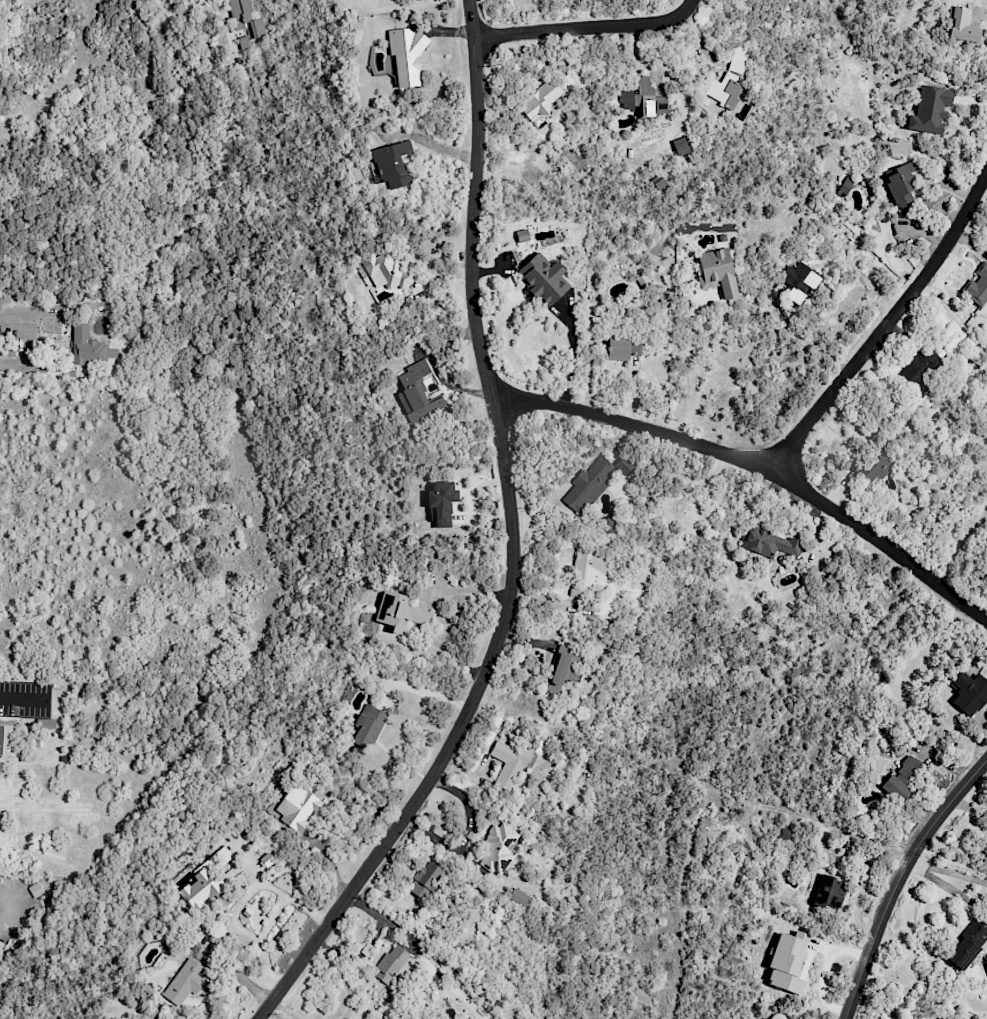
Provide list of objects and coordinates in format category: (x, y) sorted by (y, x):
road: (689, 6)
building: (246, 18)
road: (226, 25)
building: (961, 25)
road: (580, 28)
road: (638, 54)
building: (406, 56)
building: (729, 80)
building: (644, 98)
building: (539, 100)
building: (930, 110)
building: (682, 146)
building: (902, 183)
building: (660, 185)
building: (847, 185)
building: (387, 271)
building: (717, 272)
building: (543, 279)
building: (799, 281)
building: (977, 286)
road: (885, 327)
road: (23, 344)
building: (89, 347)
building: (622, 348)
road: (690, 367)
building: (920, 370)
building: (417, 395)
building: (875, 463)
building: (623, 465)
road: (757, 467)
building: (589, 485)
building: (441, 503)
building: (606, 525)
building: (769, 542)
road: (513, 543)
building: (588, 573)
road: (462, 589)
building: (400, 611)
road: (420, 617)
road: (449, 653)
building: (561, 673)
building: (969, 693)
road: (19, 698)
building: (46, 723)
building: (369, 725)
building: (7, 740)
building: (511, 763)
building: (903, 778)
building: (297, 807)
building: (784, 834)
road: (848, 834)
building: (498, 849)
road: (914, 866)
road: (924, 871)
building: (425, 880)
road: (898, 880)
building: (208, 882)
building: (35, 889)
building: (829, 892)
building: (519, 897)
road: (1, 901)
road: (241, 901)
building: (968, 943)
building: (788, 961)
building: (392, 964)
road: (235, 976)
road: (341, 977)
building: (185, 982)
road: (286, 1009)
building: (918, 1016)
building: (378, 1018)

